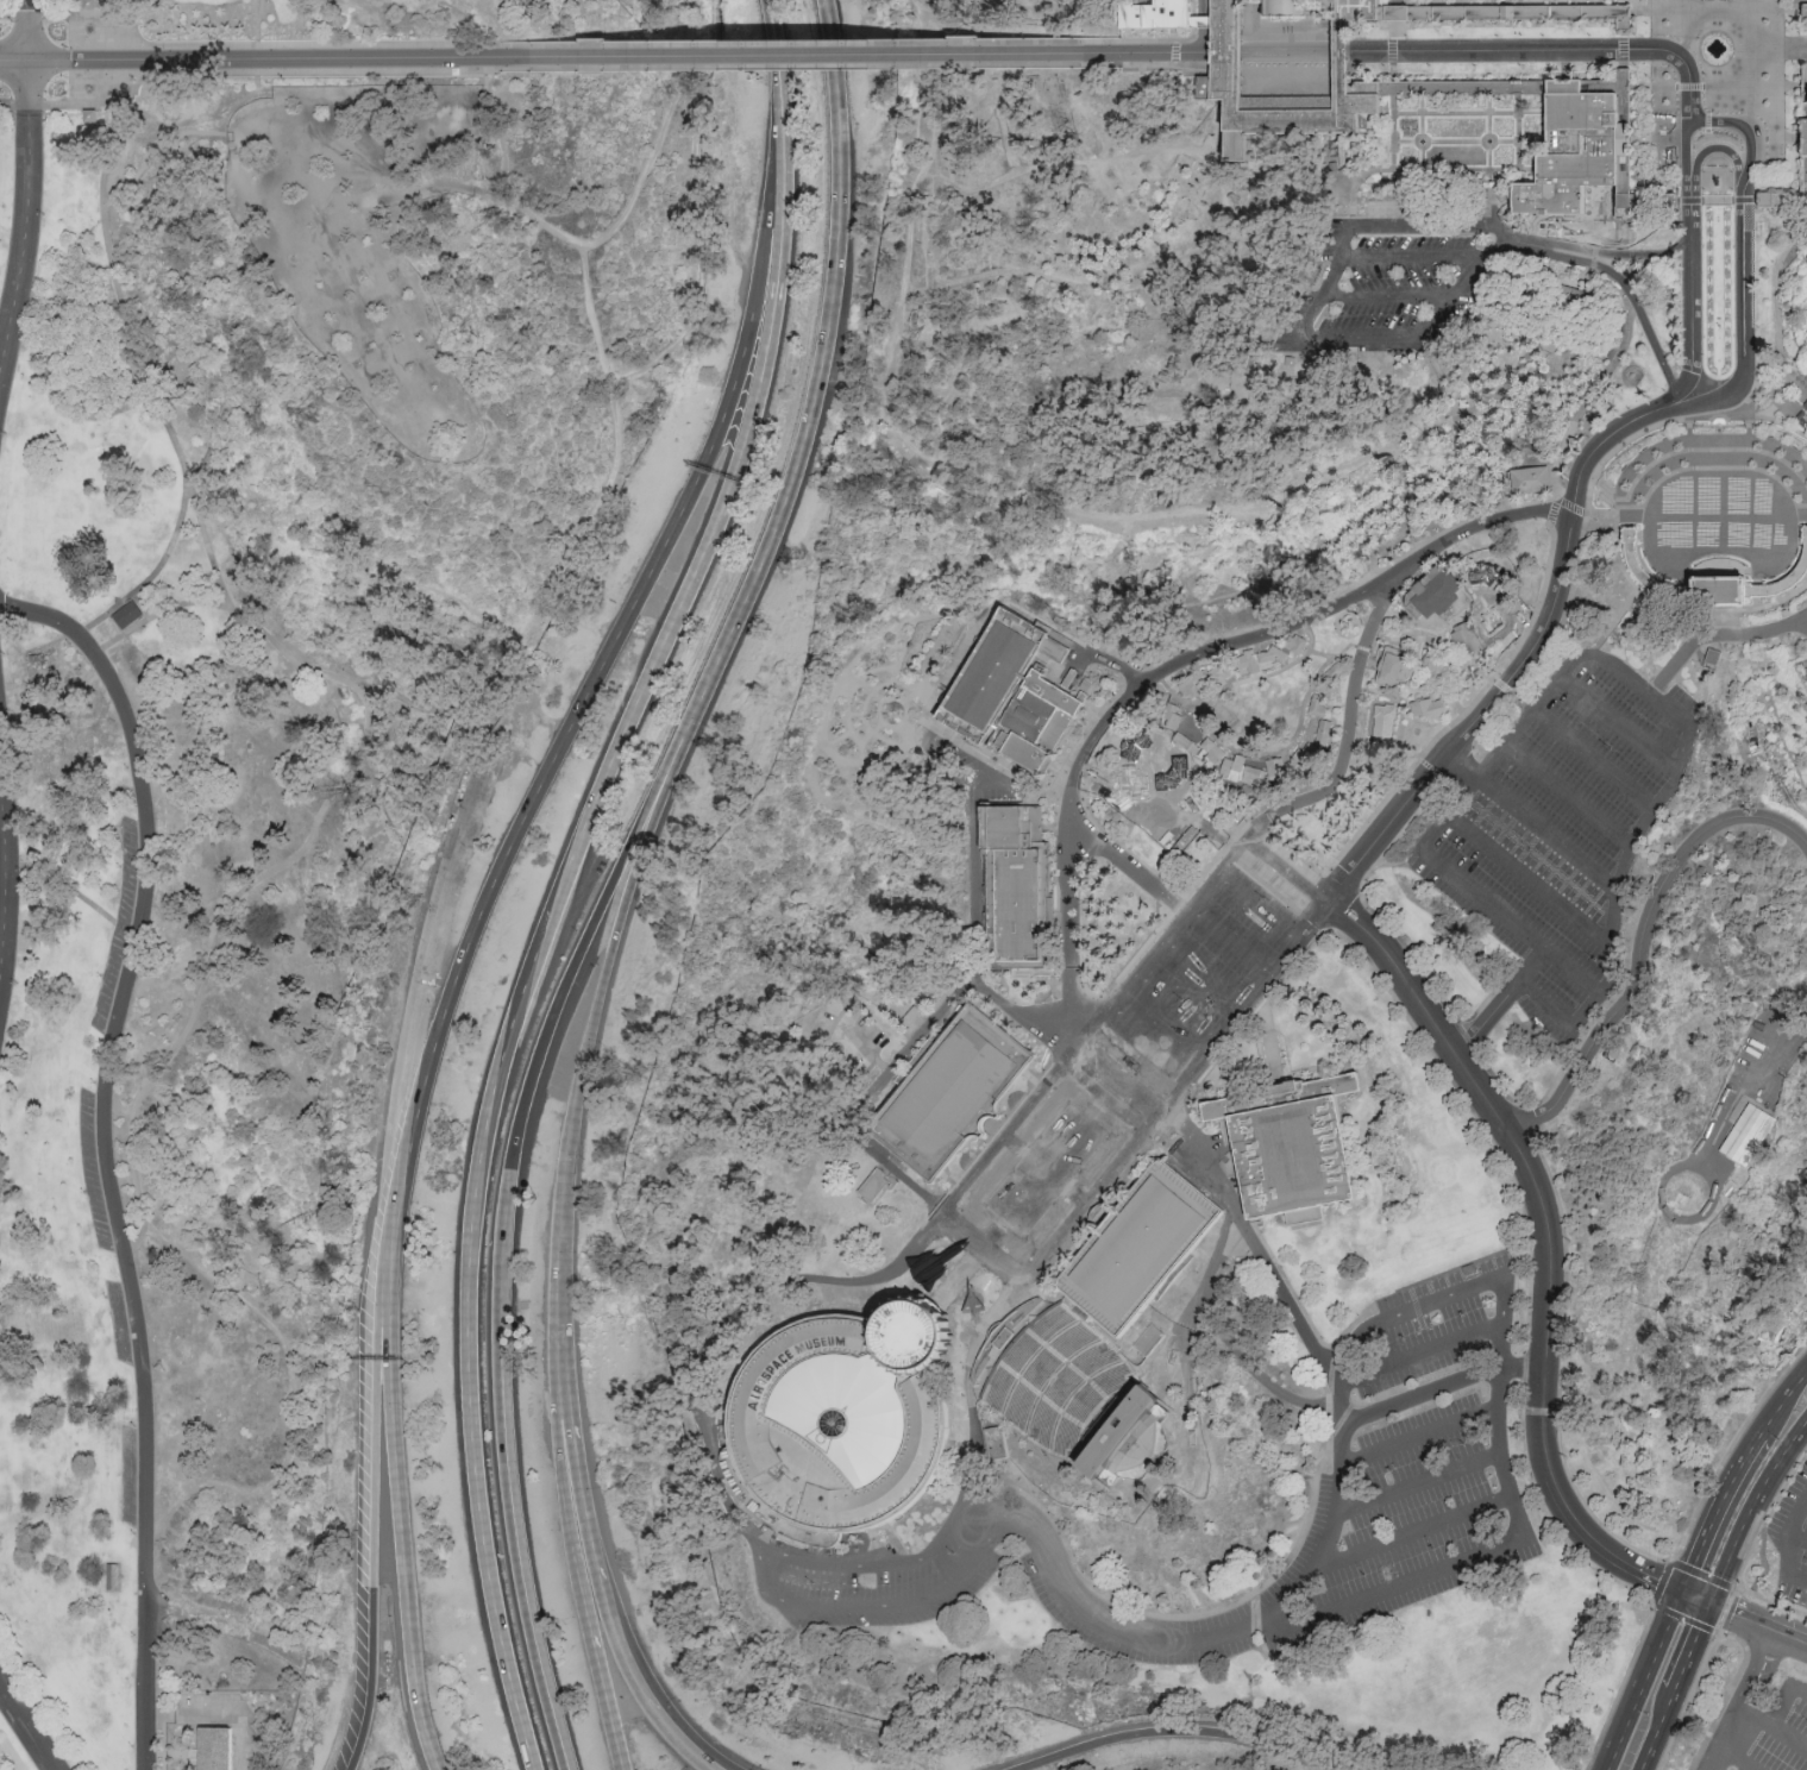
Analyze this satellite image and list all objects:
road: (942, 0)
building: (1574, 1)
building: (93, 4)
road: (1397, 4)
road: (1399, 4)
building: (1300, 7)
road: (923, 8)
road: (936, 8)
road: (1803, 13)
building: (1169, 14)
building: (1512, 14)
road: (1397, 15)
road: (70, 17)
road: (1513, 18)
road: (688, 19)
road: (1298, 20)
road: (1370, 20)
building: (1803, 20)
road: (1219, 21)
road: (259, 24)
road: (1625, 24)
road: (1397, 30)
road: (1188, 40)
road: (1149, 42)
road: (815, 45)
road: (272, 48)
road: (1397, 49)
road: (1625, 49)
road: (1784, 50)
road: (1511, 51)
fountain: (1717, 51)
road: (1175, 52)
road: (1350, 52)
road: (1376, 52)
road: (1172, 54)
road: (1237, 54)
road: (1298, 54)
road: (815, 56)
road: (269, 59)
road: (780, 59)
road: (14, 62)
road: (1149, 64)
road: (1198, 64)
road: (1237, 64)
road: (1310, 64)
road: (815, 67)
road: (1680, 67)
road: (1395, 70)
building: (1237, 71)
road: (275, 73)
road: (1717, 73)
road: (1625, 77)
road: (1344, 84)
road: (1395, 86)
building: (1455, 86)
road: (1793, 87)
road: (1805, 87)
road: (1692, 88)
road: (1743, 88)
road: (1369, 89)
road: (1514, 89)
road: (1658, 89)
road: (1425, 92)
road: (1494, 92)
road: (1521, 92)
road: (1784, 92)
road: (1458, 113)
road: (1005, 118)
road: (1742, 127)
road: (1395, 131)
road: (1426, 131)
road: (1494, 131)
road: (1521, 131)
road: (197, 133)
road: (1708, 134)
fountain: (1488, 139)
road: (1458, 140)
building: (1803, 142)
fountain: (1422, 143)
building: (1585, 143)
road: (1797, 145)
road: (1632, 146)
road: (1713, 149)
building: (1247, 150)
road: (1752, 151)
road: (1689, 152)
road: (509, 156)
road: (1425, 169)
road: (137, 176)
road: (1656, 188)
road: (642, 189)
road: (27, 190)
road: (984, 190)
road: (1633, 202)
road: (1658, 202)
road: (1782, 202)
road: (1690, 203)
road: (1745, 203)
road: (1733, 208)
road: (1500, 214)
road: (772, 216)
road: (1806, 219)
road: (1423, 220)
road: (1501, 228)
road: (1542, 233)
road: (1408, 255)
road: (1605, 255)
road: (699, 256)
road: (1196, 257)
road: (1341, 257)
road: (1470, 258)
road: (1487, 264)
parking lot: (1398, 278)
road: (1623, 287)
road: (1557, 288)
road: (1388, 295)
road: (1620, 306)
road: (121, 312)
road: (1318, 314)
road: (1692, 314)
road: (1436, 316)
road: (1777, 320)
road: (1744, 335)
road: (1362, 338)
road: (1620, 350)
road: (828, 356)
road: (1782, 357)
road: (1776, 406)
building: (1805, 407)
road: (1469, 413)
toll booth: (1801, 419)
road: (1803, 420)
road: (1688, 422)
fountain: (1718, 423)
road: (287, 426)
road: (1786, 428)
road: (1642, 434)
road: (1617, 446)
road: (620, 453)
road: (1588, 460)
road: (936, 465)
building: (1521, 484)
road: (1558, 501)
road: (1614, 503)
road: (1610, 532)
road: (1617, 532)
road: (155, 573)
building: (1485, 576)
road: (1626, 577)
building: (1715, 583)
road: (1360, 585)
road: (1147, 594)
building: (1437, 594)
road: (1231, 595)
road: (1485, 601)
road: (142, 609)
road: (228, 611)
road: (1724, 613)
building: (126, 615)
road: (1304, 616)
building: (1489, 621)
road: (1806, 621)
road: (975, 627)
road: (1428, 634)
building: (1468, 638)
road: (1717, 638)
road: (874, 640)
building: (1301, 645)
road: (1360, 646)
road: (1419, 646)
road: (896, 647)
road: (1600, 647)
road: (1322, 652)
road: (1592, 653)
building: (1273, 654)
road: (933, 655)
building: (1251, 661)
road: (1472, 661)
road: (1180, 666)
building: (1398, 666)
road: (1077, 667)
road: (1119, 667)
building: (1337, 667)
road: (1458, 671)
parking lot: (1805, 671)
building: (1222, 673)
road: (1270, 673)
road: (1486, 673)
road: (482, 676)
road: (877, 683)
building: (1194, 684)
road: (864, 686)
road: (1366, 686)
road: (1502, 689)
road: (1411, 692)
road: (910, 696)
building: (1014, 696)
road: (1181, 696)
road: (846, 699)
road: (1538, 704)
building: (1319, 705)
road: (1456, 705)
building: (1430, 707)
road: (855, 714)
building: (1175, 715)
building: (1385, 716)
road: (1461, 720)
road: (1476, 723)
road: (889, 724)
road: (926, 724)
road: (1210, 726)
road: (1090, 727)
road: (1619, 727)
road: (1306, 728)
road: (1312, 729)
road: (1298, 730)
building: (1325, 730)
road: (871, 732)
road: (1348, 732)
road: (839, 736)
building: (1187, 741)
building: (1134, 746)
building: (1215, 749)
building: (1304, 759)
road: (1166, 761)
road: (1593, 761)
road: (556, 764)
building: (1235, 765)
building: (1274, 766)
road: (1464, 767)
road: (1435, 771)
building: (1255, 774)
building: (1172, 777)
road: (1149, 779)
road: (1229, 780)
road: (1068, 782)
building: (1130, 783)
road: (1667, 790)
road: (1052, 795)
road: (1569, 797)
road: (859, 806)
road: (1201, 806)
road: (1153, 811)
road: (1269, 833)
parking lot: (1562, 833)
road: (1546, 837)
road: (1121, 846)
road: (1251, 846)
road: (1530, 849)
road: (1218, 852)
road: (1403, 864)
road: (2, 868)
road: (5, 870)
road: (1128, 870)
park: (902, 880)
road: (1527, 881)
road: (1343, 884)
road: (630, 885)
building: (1014, 892)
road: (75, 895)
road: (1486, 903)
road: (1174, 904)
road: (1254, 912)
road: (973, 922)
road: (545, 930)
parking lot: (117, 931)
road: (1643, 941)
road: (1226, 947)
road: (1305, 952)
road: (217, 954)
road: (1610, 954)
road: (1142, 964)
road: (1127, 967)
parking lot: (1206, 969)
road: (1199, 979)
road: (1498, 986)
road: (425, 987)
road: (1068, 991)
road: (1257, 992)
road: (1502, 1003)
road: (559, 1004)
road: (1171, 1013)
road: (1561, 1022)
road: (1097, 1027)
road: (1088, 1031)
road: (1141, 1049)
road: (1223, 1050)
building: (1750, 1050)
road: (1068, 1056)
road: (1118, 1072)
road: (1269, 1074)
road: (1118, 1080)
road: (1272, 1082)
road: (1109, 1084)
building: (1731, 1084)
building: (947, 1090)
road: (1749, 1093)
road: (1545, 1094)
road: (1171, 1098)
road: (1102, 1100)
road: (867, 1104)
road: (1167, 1104)
road: (1498, 1111)
road: (1154, 1121)
road: (1152, 1123)
road: (1531, 1134)
building: (1749, 1137)
building: (1292, 1149)
road: (108, 1151)
parking lot: (90, 1168)
road: (1041, 1175)
road: (1104, 1198)
road: (1670, 1217)
road: (1254, 1247)
road: (981, 1249)
building: (1141, 1249)
road: (1219, 1255)
road: (1529, 1261)
building: (1468, 1268)
road: (960, 1276)
road: (560, 1297)
road: (1438, 1298)
road: (1304, 1314)
building: (1279, 1322)
parking lot: (118, 1324)
road: (726, 1327)
road: (1507, 1347)
road: (1429, 1351)
road: (1184, 1355)
road: (1527, 1368)
road: (1260, 1375)
road: (970, 1379)
road: (566, 1385)
road: (1426, 1393)
building: (1072, 1394)
road: (295, 1400)
road: (1348, 1400)
road: (1781, 1401)
building: (843, 1424)
road: (1424, 1435)
road: (1746, 1455)
road: (1504, 1456)
road: (1783, 1457)
parking lot: (1416, 1463)
road: (577, 1465)
parking lot: (127, 1480)
road: (1422, 1485)
road: (377, 1501)
road: (403, 1501)
road: (1567, 1507)
road: (1418, 1533)
road: (1707, 1533)
road: (1337, 1534)
road: (1800, 1536)
parking lot: (1794, 1540)
road: (1789, 1545)
road: (1734, 1549)
road: (1749, 1549)
road: (929, 1557)
road: (521, 1558)
road: (578, 1569)
parking lot: (879, 1573)
building: (111, 1580)
road: (1398, 1590)
traffic signals: (1681, 1592)
road: (1695, 1598)
traffic signals: (1711, 1605)
road: (868, 1608)
road: (1215, 1609)
road: (608, 1611)
road: (1758, 1622)
road: (1116, 1630)
road: (230, 1633)
road: (1719, 1634)
road: (1692, 1647)
road: (1761, 1671)
road: (1644, 1681)
road: (1620, 1687)
road: (1725, 1696)
road: (1787, 1697)
road: (609, 1701)
road: (1686, 1701)
road: (657, 1714)
road: (1775, 1727)
road: (24, 1730)
road: (1657, 1731)
road: (1180, 1732)
parking lot: (1763, 1733)
road: (1728, 1740)
road: (696, 1743)
road: (683, 1745)
building: (209, 1751)
road: (1739, 1760)

